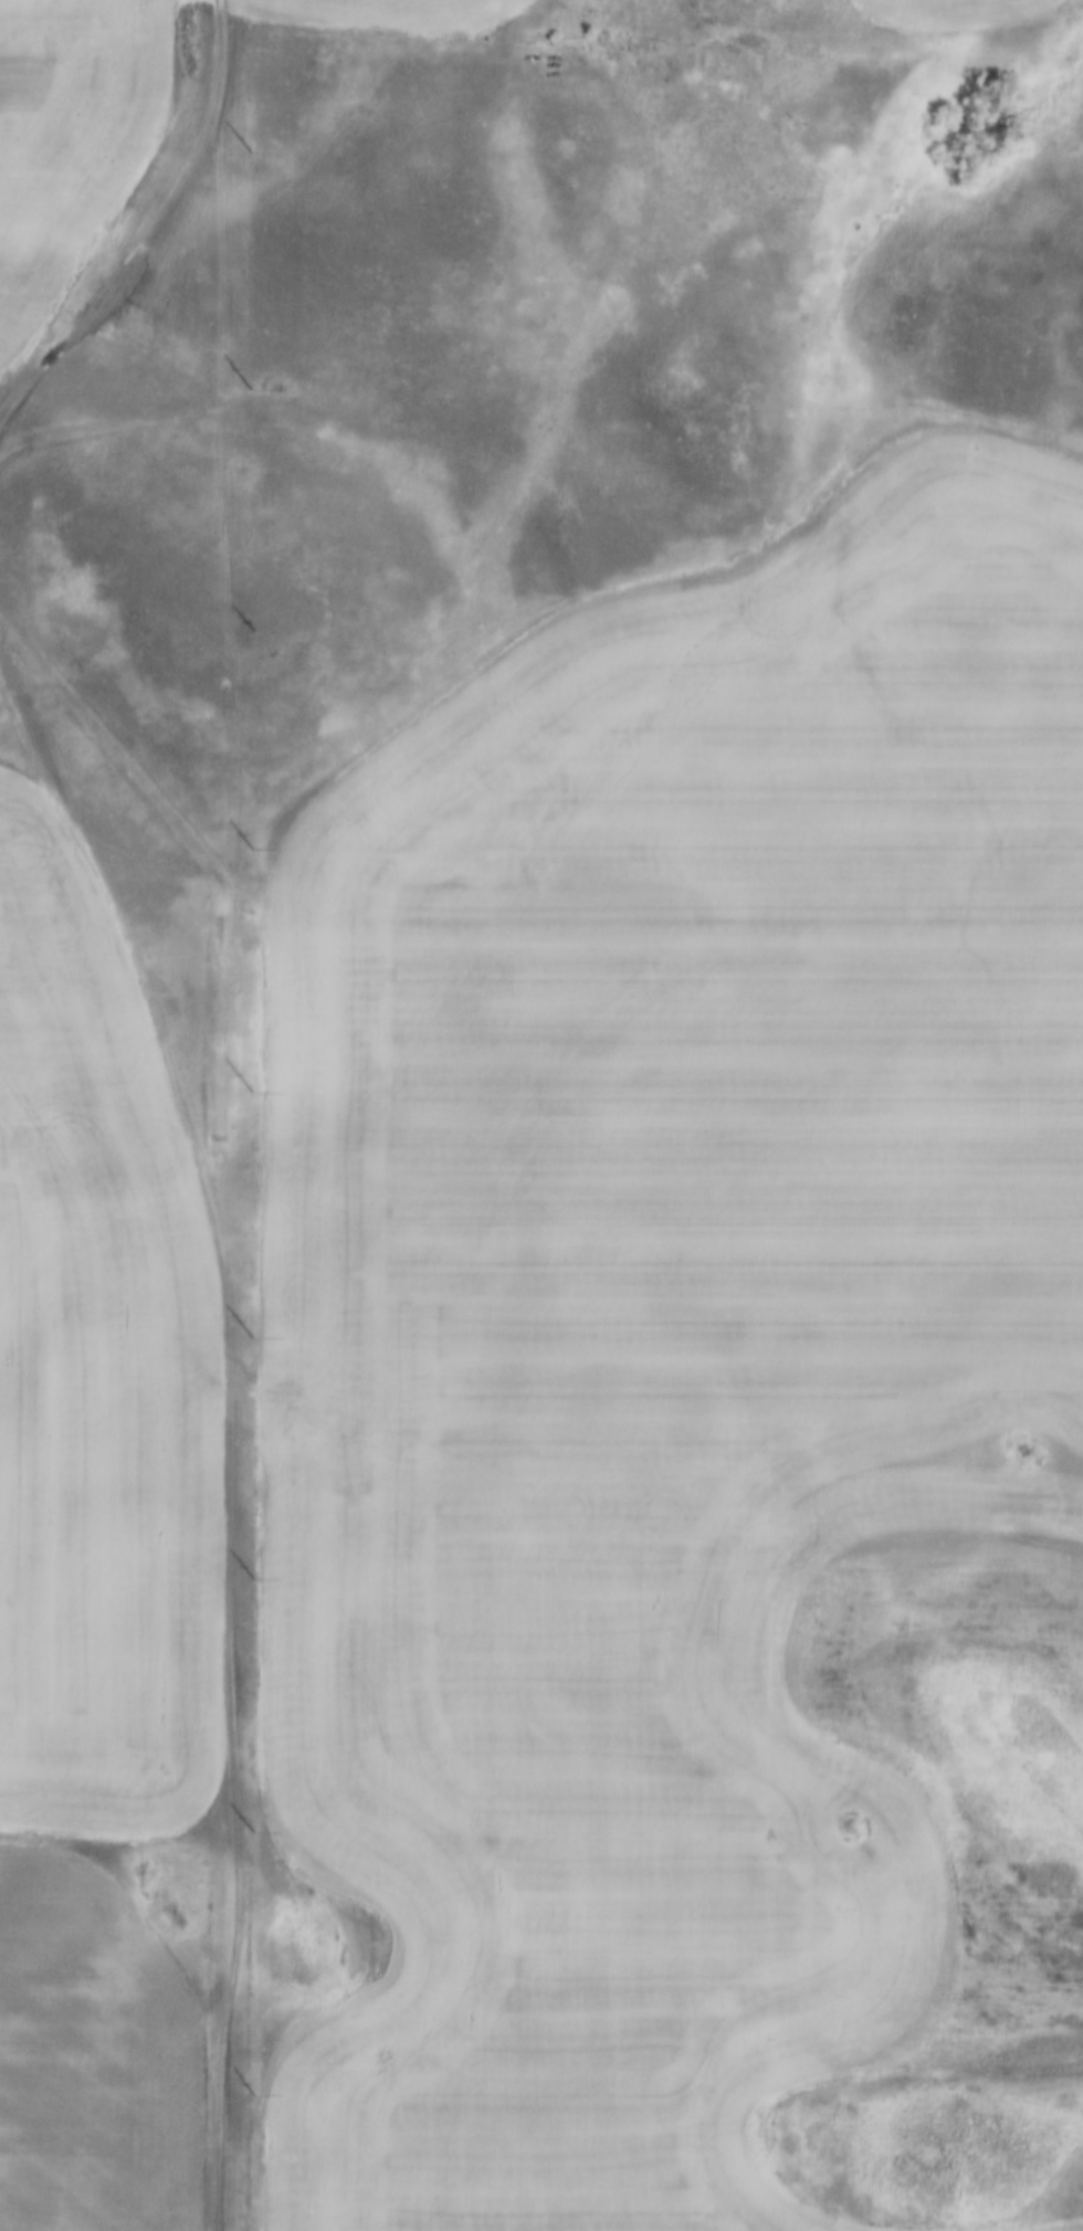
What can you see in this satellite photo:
road: (382, 31)
road: (157, 225)
road: (222, 1433)

